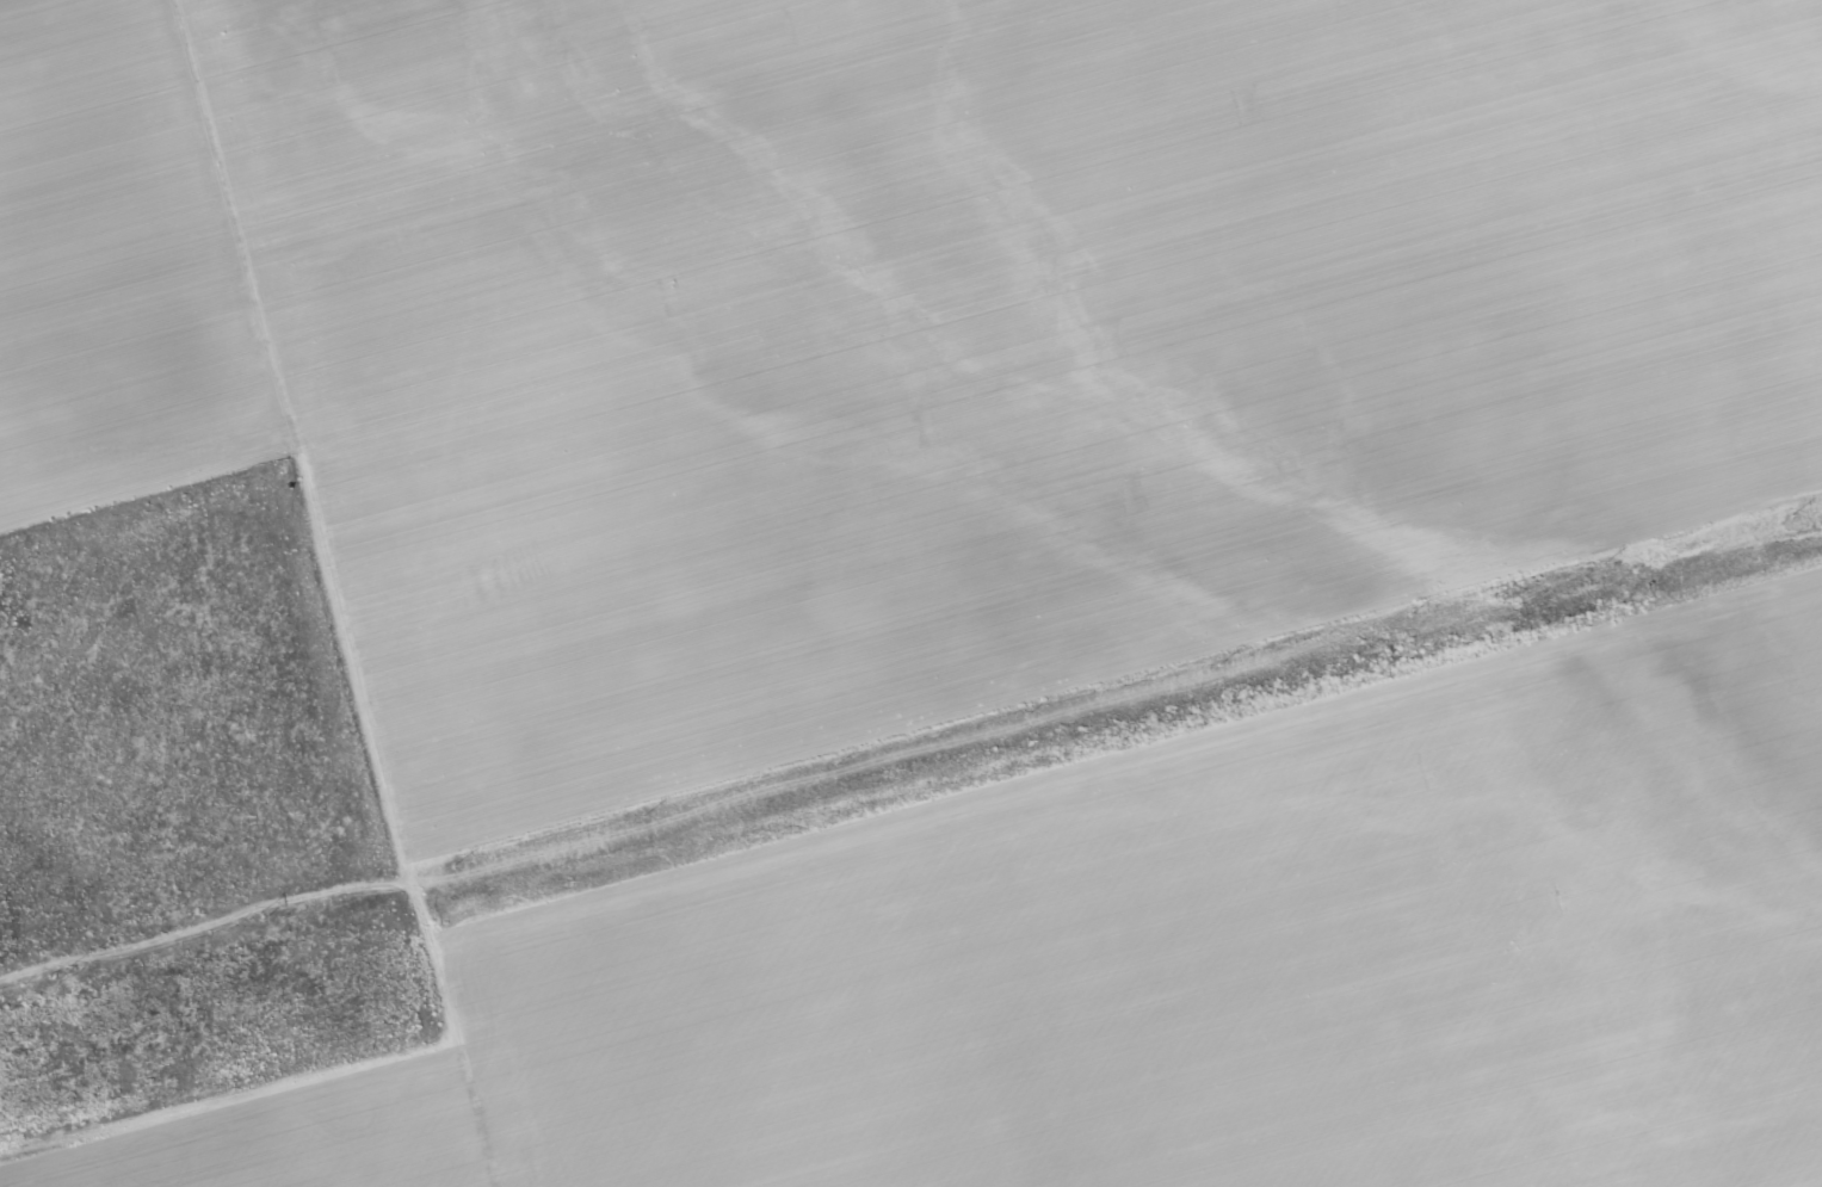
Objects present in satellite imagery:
road: (91, 999)
building: (153, 1040)

